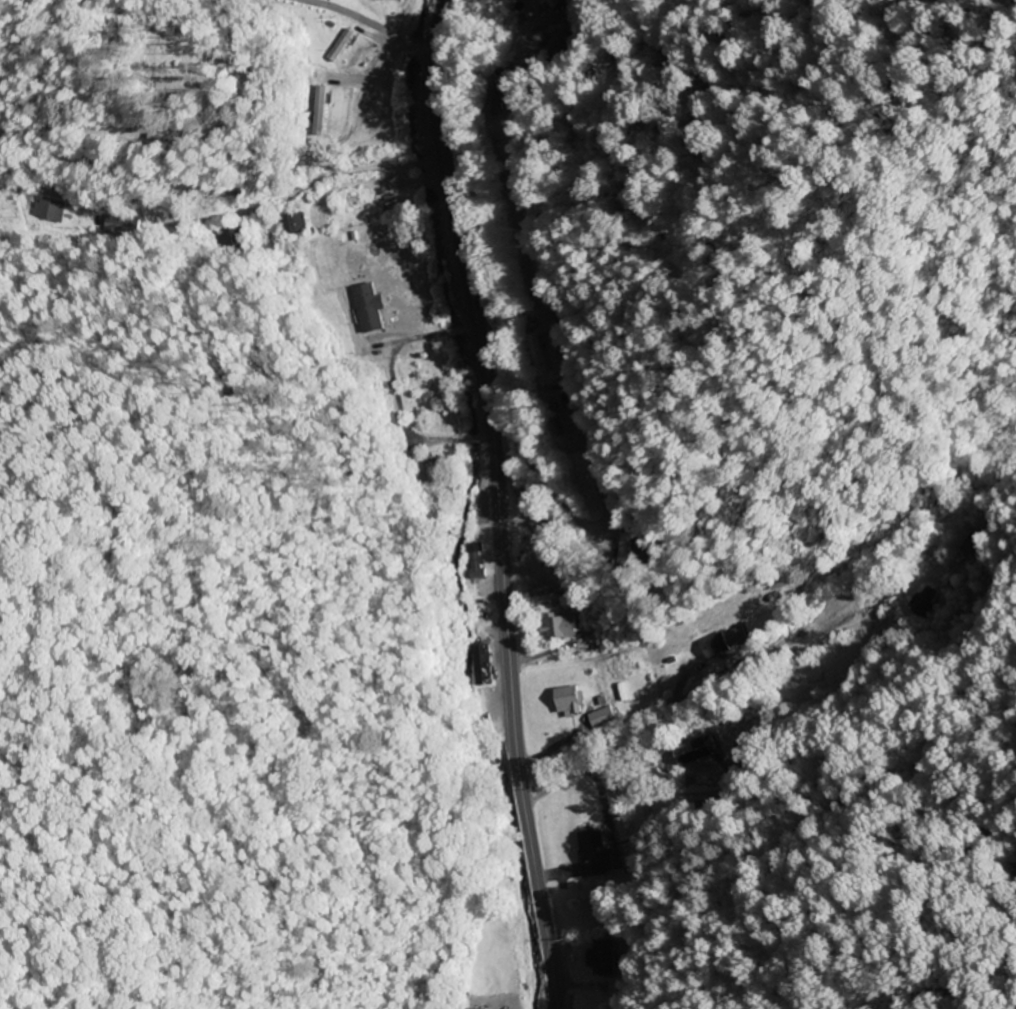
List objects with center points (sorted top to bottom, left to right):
road: (373, 26)
building: (341, 46)
building: (549, 50)
building: (494, 99)
building: (319, 111)
building: (49, 210)
road: (222, 216)
building: (294, 225)
building: (542, 280)
building: (539, 357)
road: (550, 410)
building: (557, 422)
building: (429, 473)
building: (582, 479)
building: (525, 502)
road: (496, 503)
building: (625, 544)
building: (550, 550)
building: (476, 563)
building: (548, 592)
building: (923, 603)
building: (560, 628)
building: (720, 645)
building: (569, 702)
building: (603, 719)
road: (547, 759)
building: (595, 855)
building: (601, 960)

